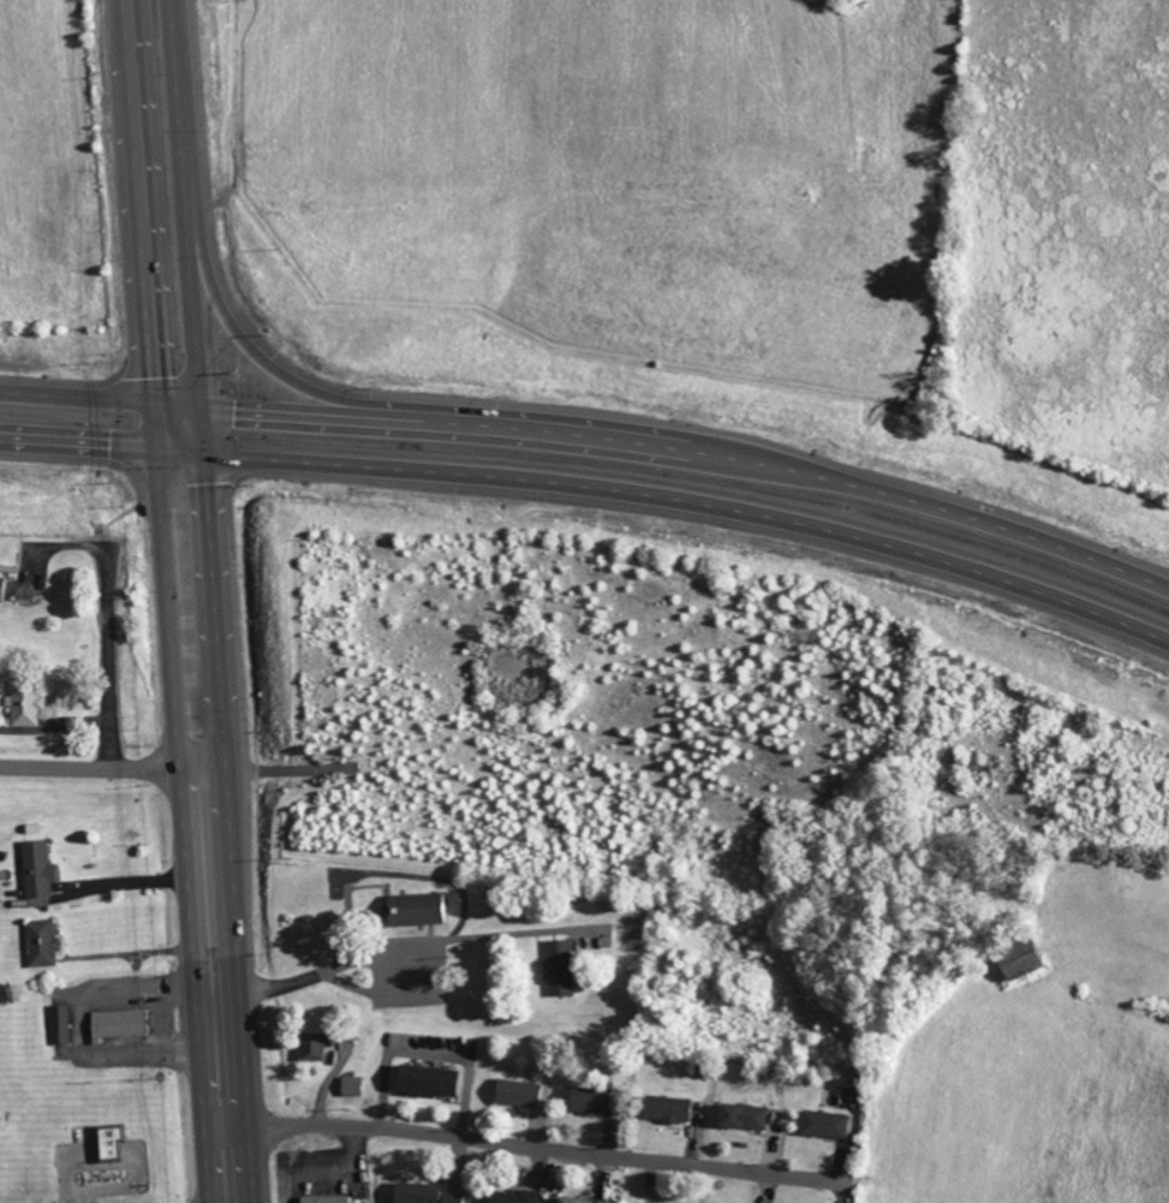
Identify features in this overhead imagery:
road: (136, 201)
road: (183, 203)
road: (276, 373)
road: (97, 398)
road: (151, 427)
road: (77, 447)
road: (691, 454)
road: (670, 496)
building: (6, 589)
road: (112, 657)
building: (32, 703)
road: (90, 764)
road: (255, 767)
road: (204, 768)
road: (281, 774)
road: (232, 805)
road: (184, 827)
building: (44, 870)
building: (425, 909)
building: (48, 942)
building: (1037, 959)
road: (348, 961)
building: (563, 967)
building: (64, 1024)
building: (126, 1024)
building: (320, 1046)
building: (441, 1080)
building: (358, 1085)
building: (524, 1092)
building: (598, 1101)
building: (675, 1109)
building: (750, 1115)
building: (831, 1124)
building: (118, 1143)
road: (536, 1144)
building: (430, 1193)
building: (515, 1196)
building: (334, 1199)
building: (589, 1201)

